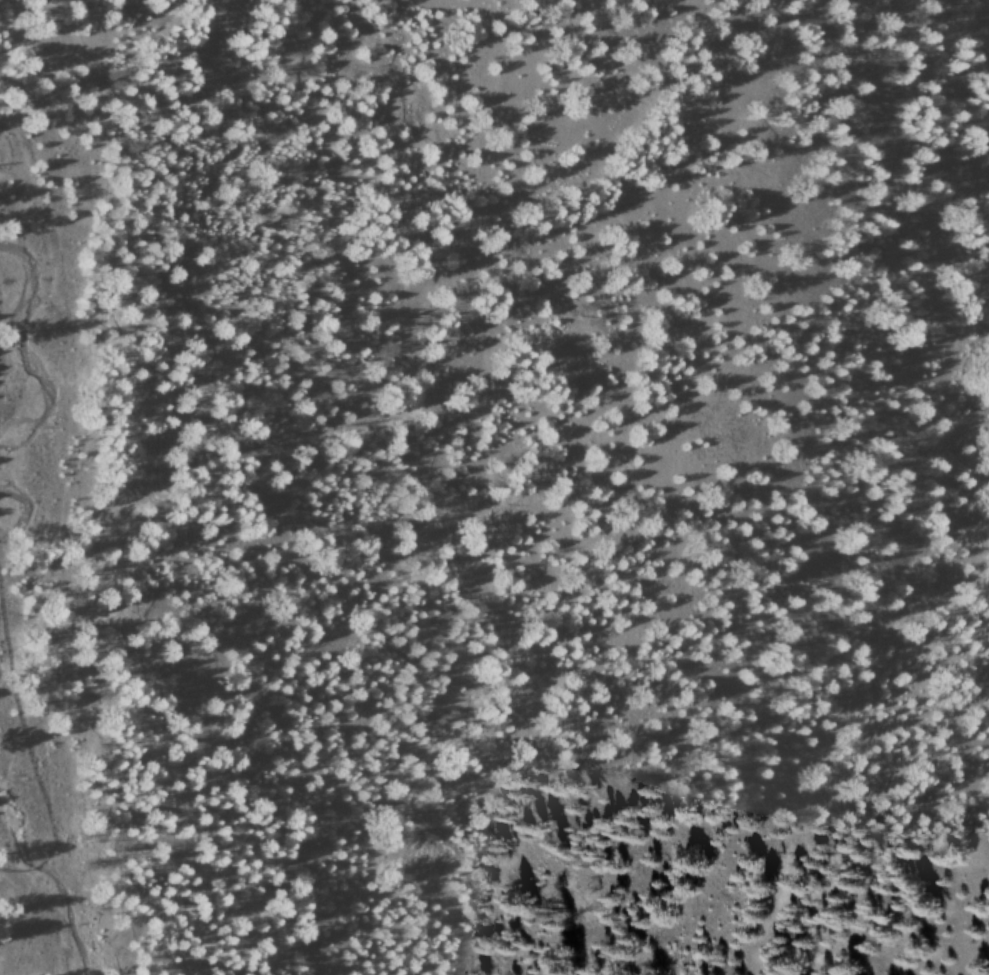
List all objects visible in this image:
road: (927, 846)

